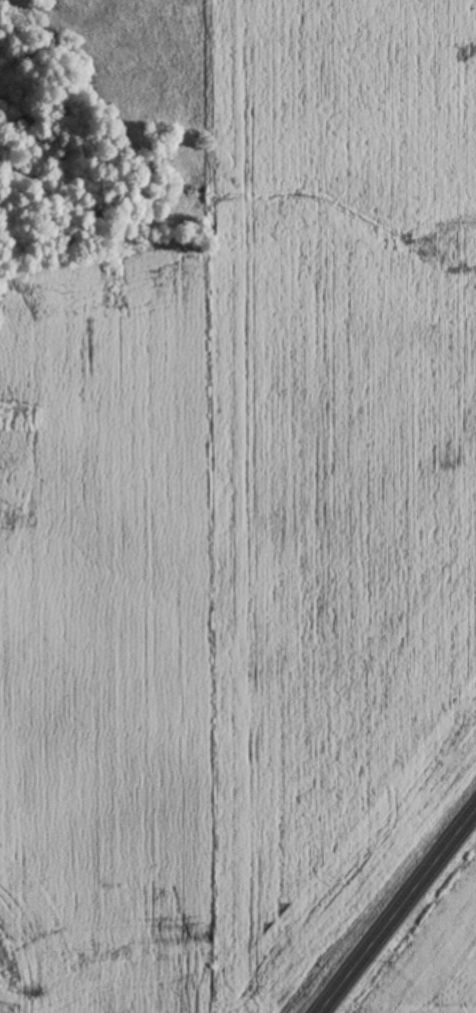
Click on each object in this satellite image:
road: (394, 905)

